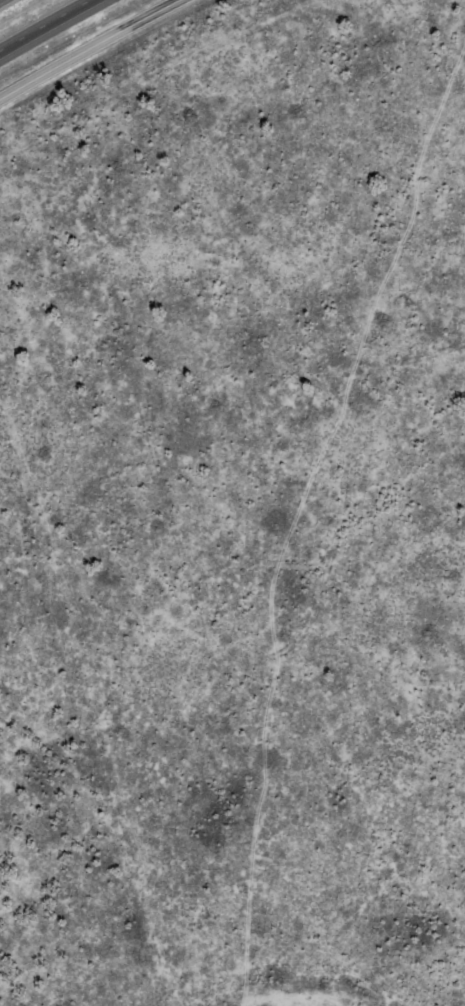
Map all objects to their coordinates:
road: (44, 24)
road: (88, 46)

